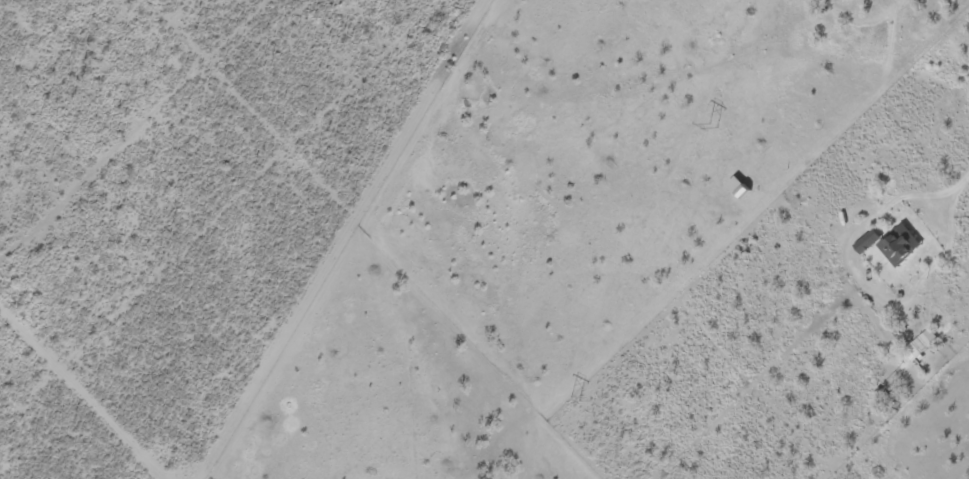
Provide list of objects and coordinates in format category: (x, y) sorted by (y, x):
road: (9, 12)
power tower: (712, 127)
road: (387, 239)
building: (891, 240)
power tower: (574, 400)

